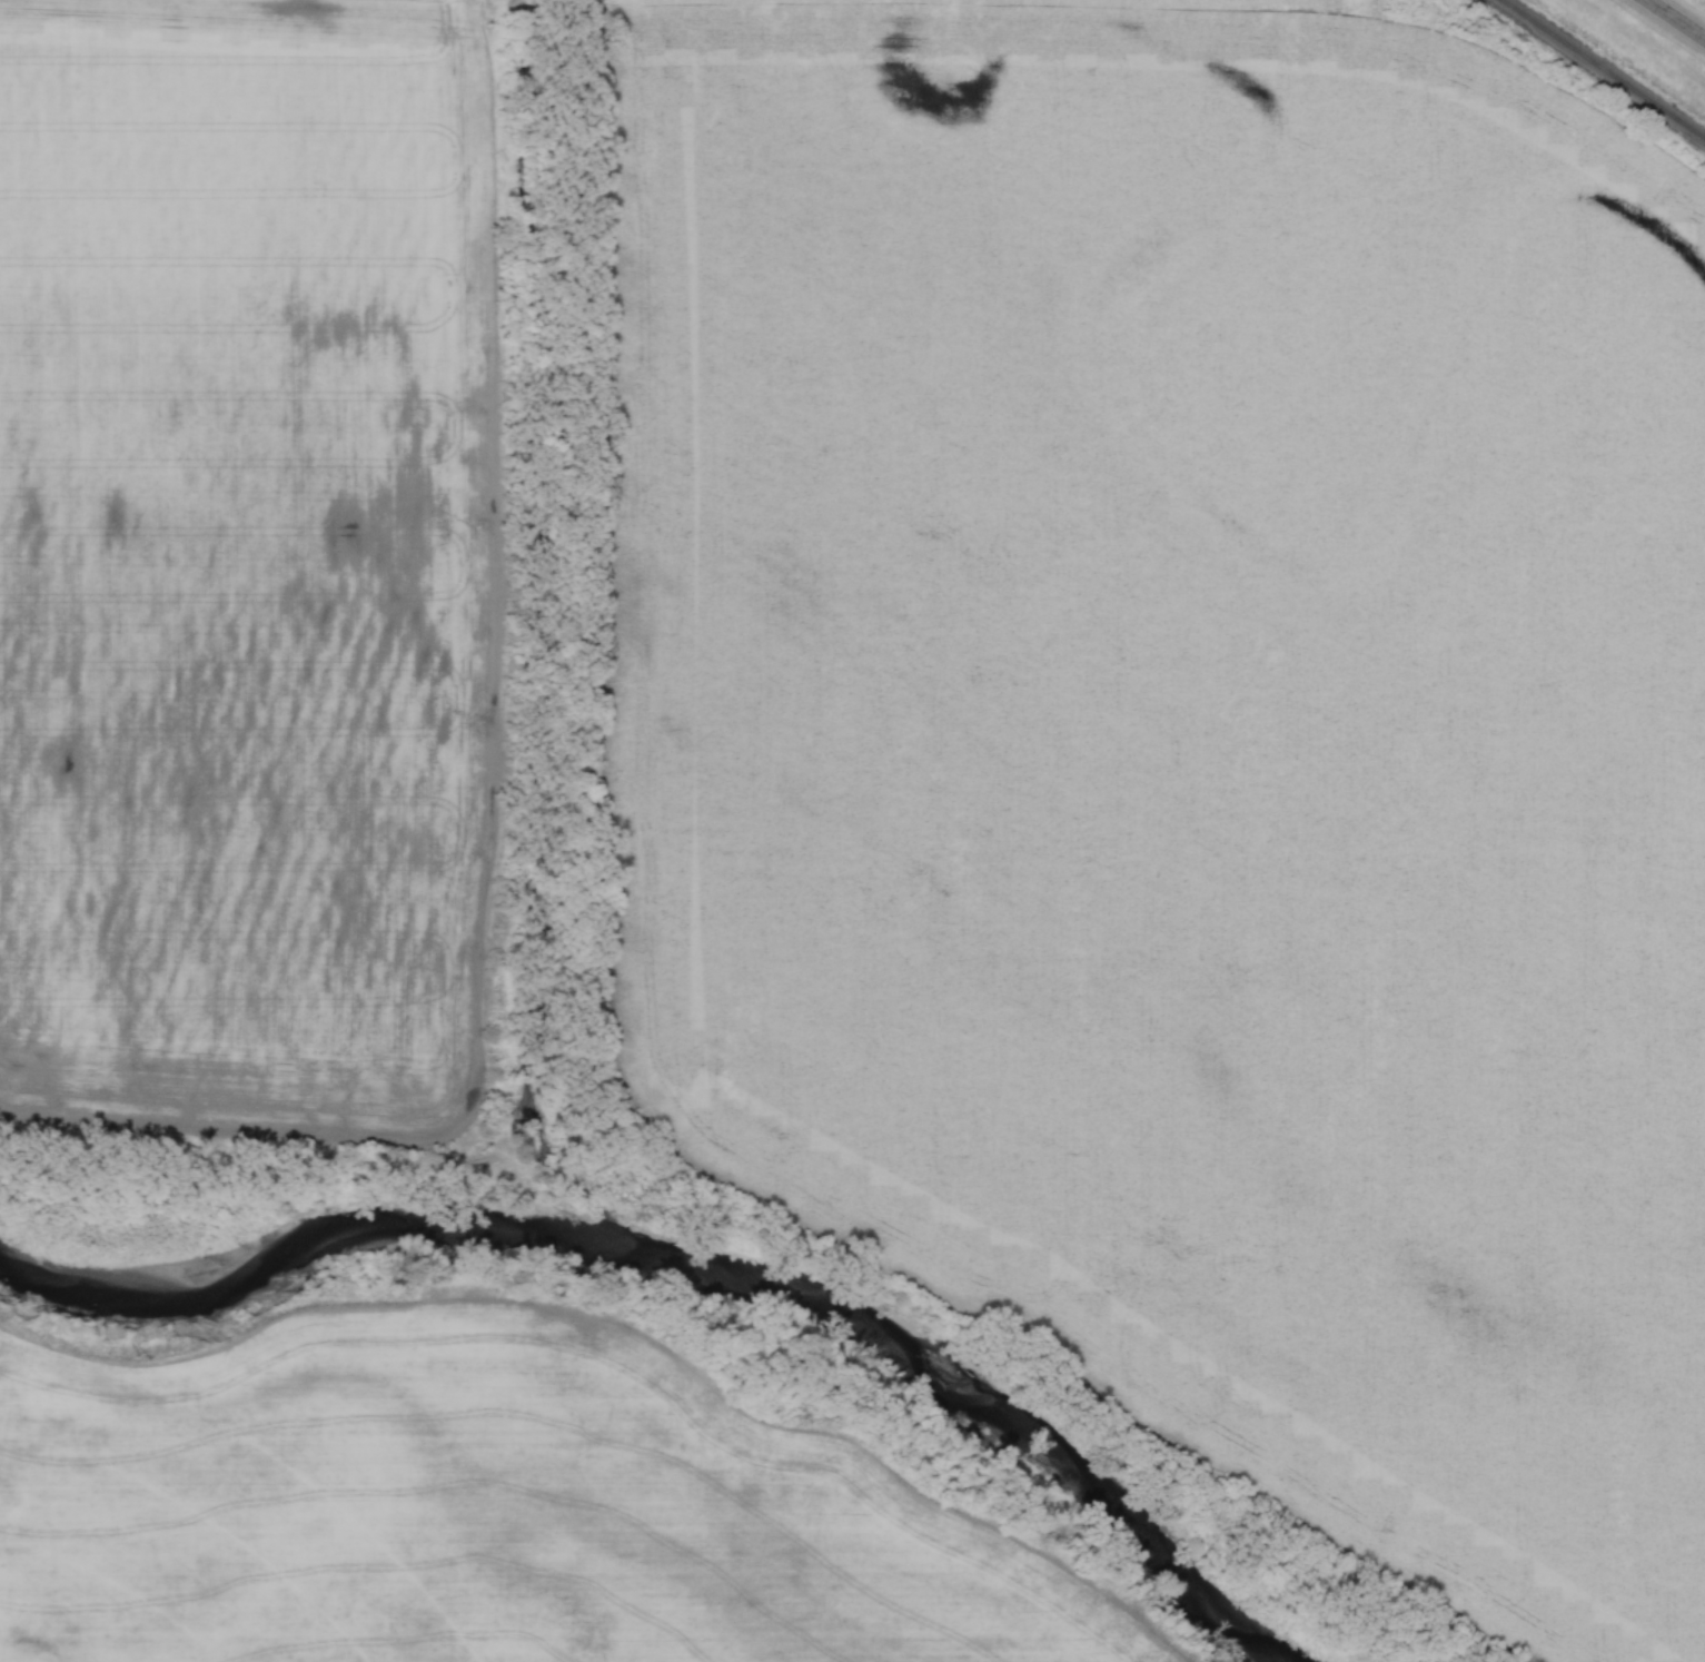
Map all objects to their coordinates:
road: (521, 1)
road: (1673, 21)
railway: (1605, 68)
crop: (1193, 738)
river: (700, 1263)

